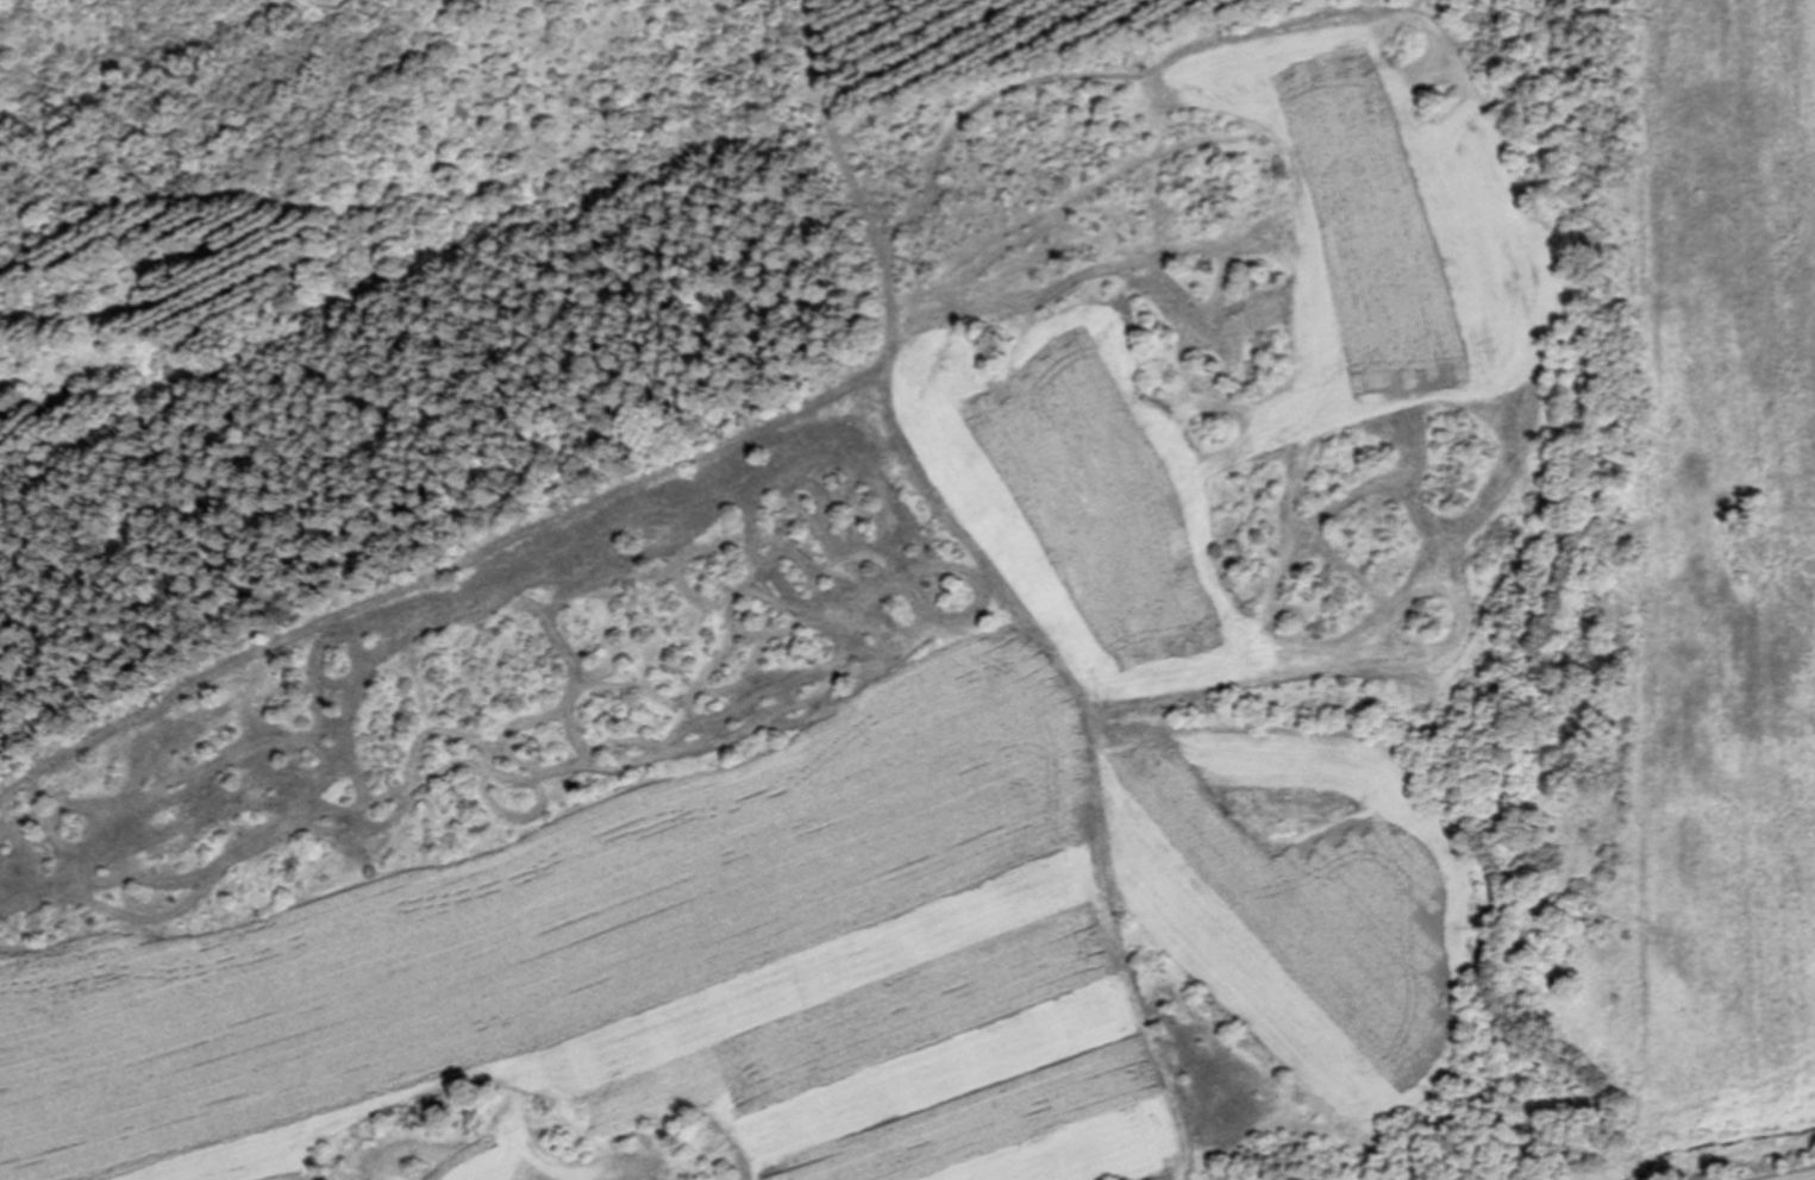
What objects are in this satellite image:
road: (1801, 1176)

